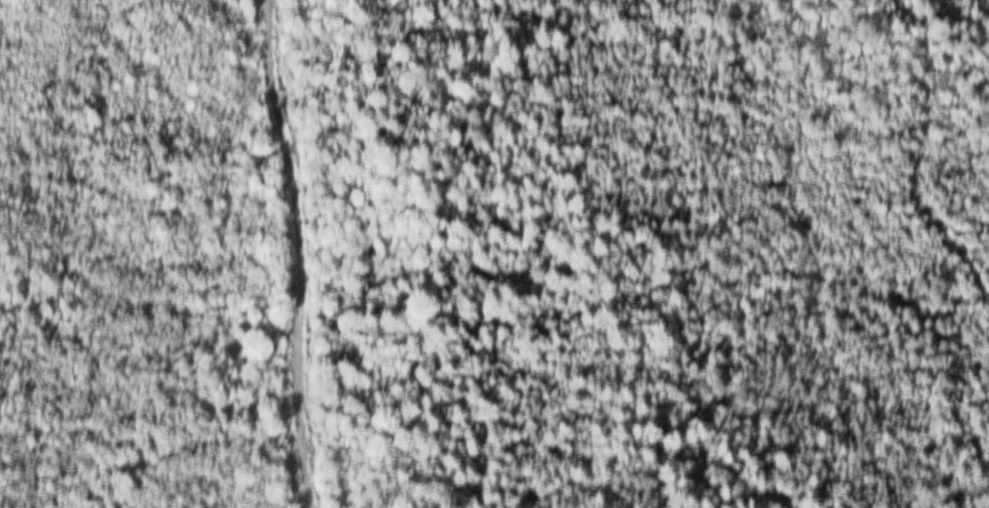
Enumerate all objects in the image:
road: (295, 253)

